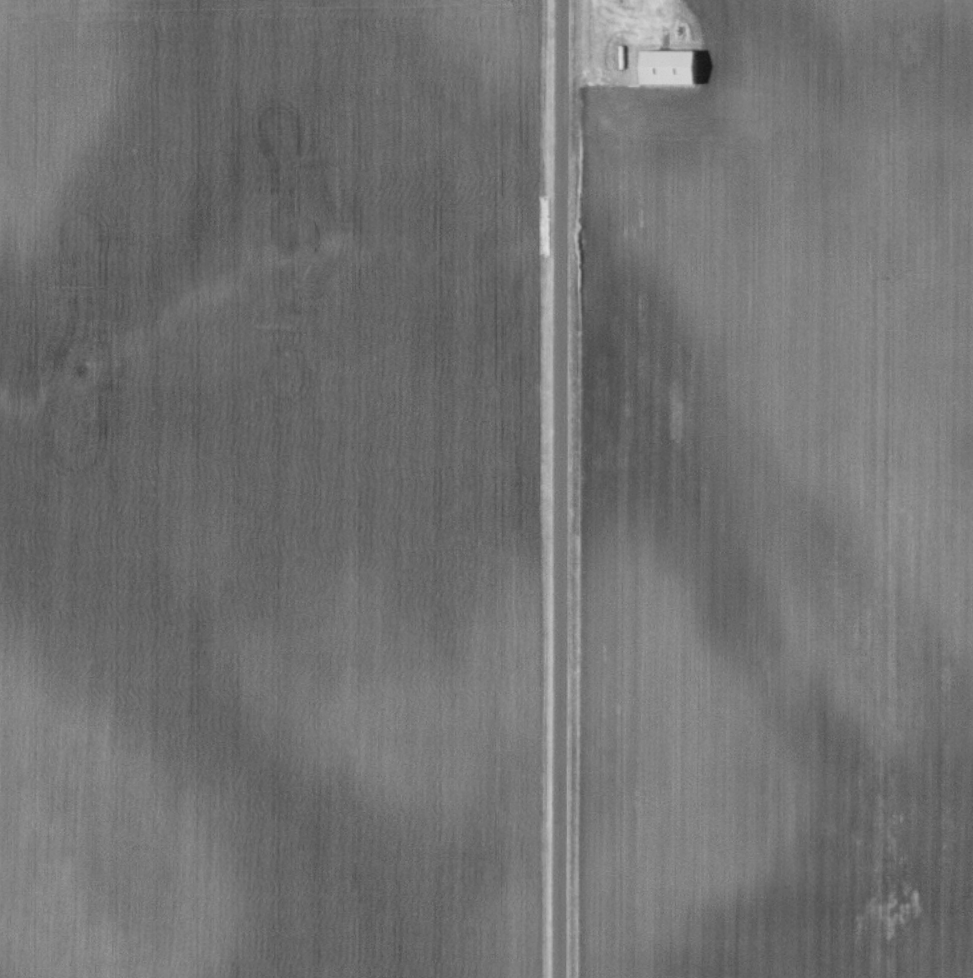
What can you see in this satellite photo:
road: (557, 489)

